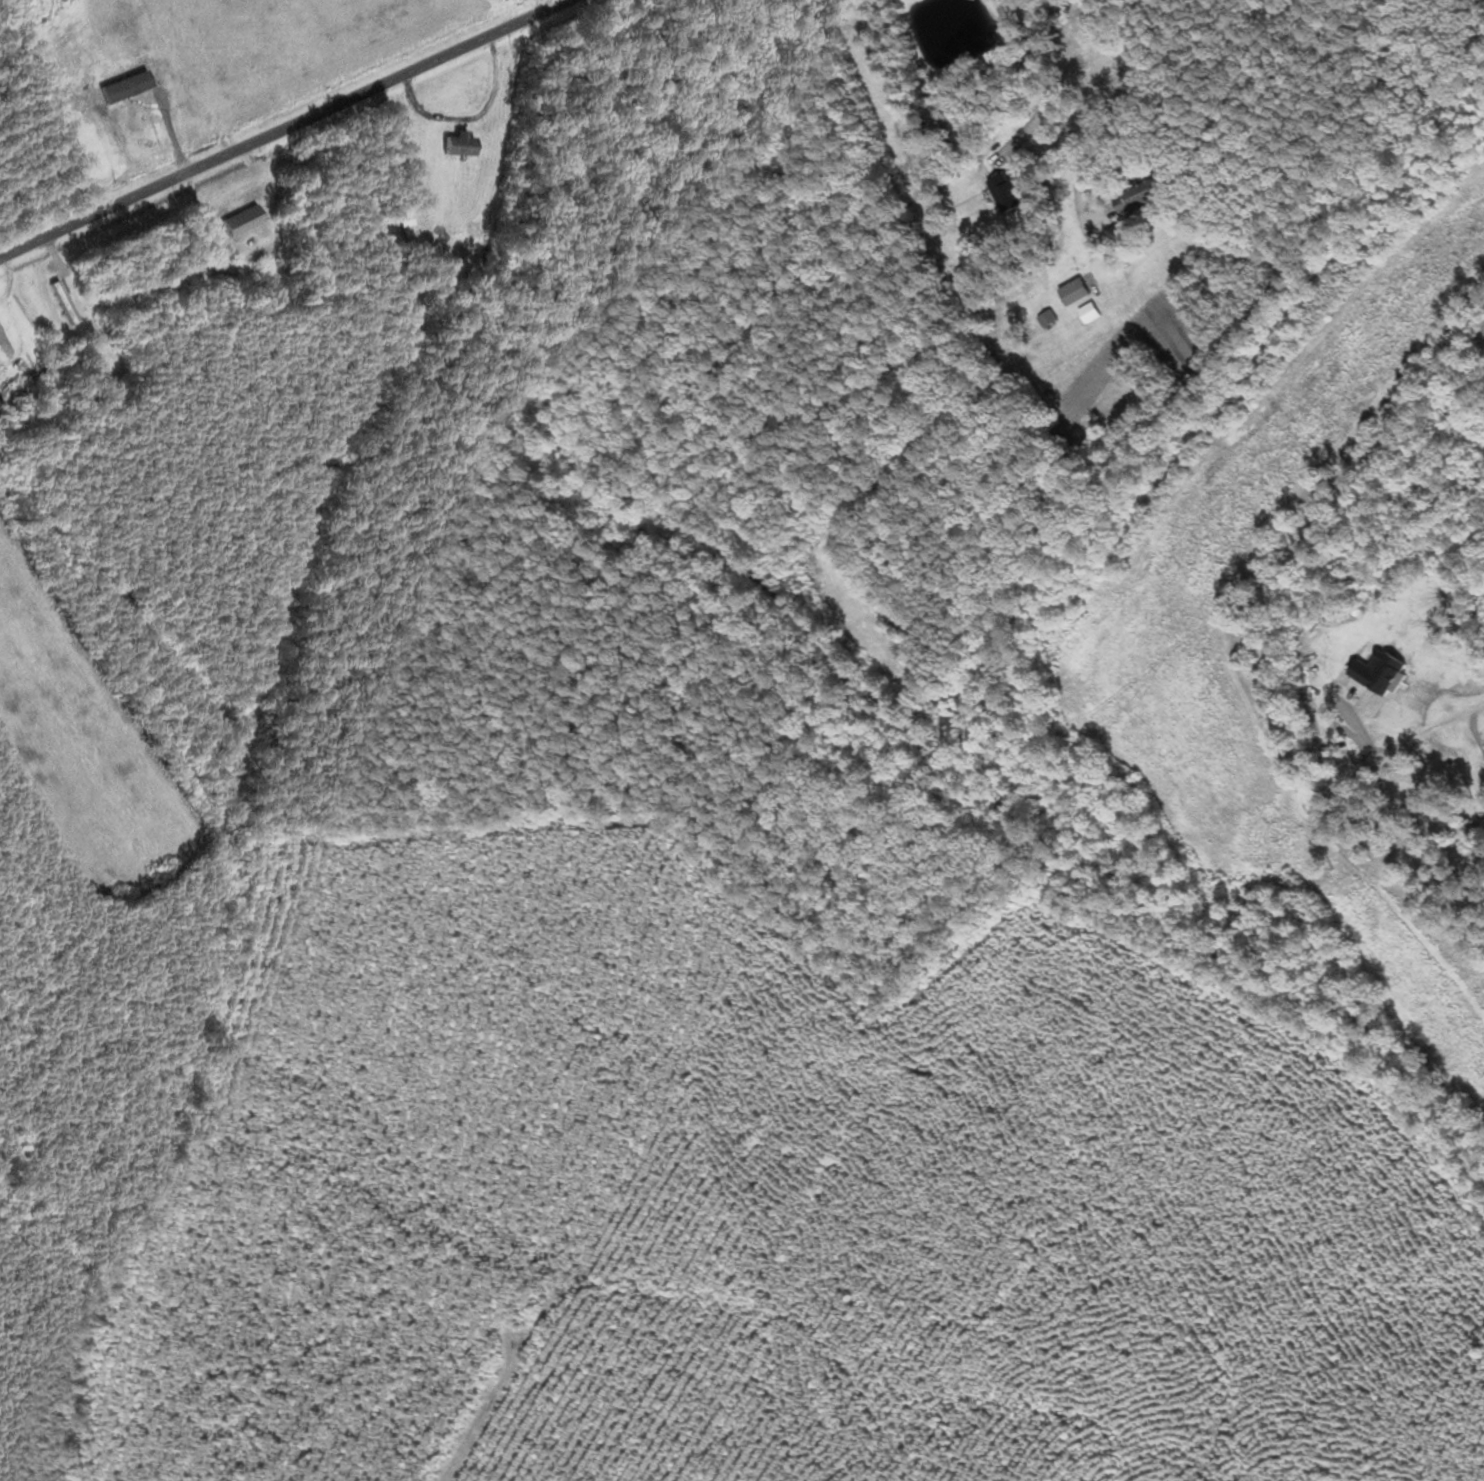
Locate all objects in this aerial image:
road: (1036, 72)
road: (284, 129)
building: (456, 147)
building: (1005, 194)
building: (1138, 196)
building: (252, 215)
building: (226, 227)
building: (406, 229)
building: (1074, 292)
building: (62, 303)
building: (1048, 319)
building: (5, 345)
road: (1471, 712)

